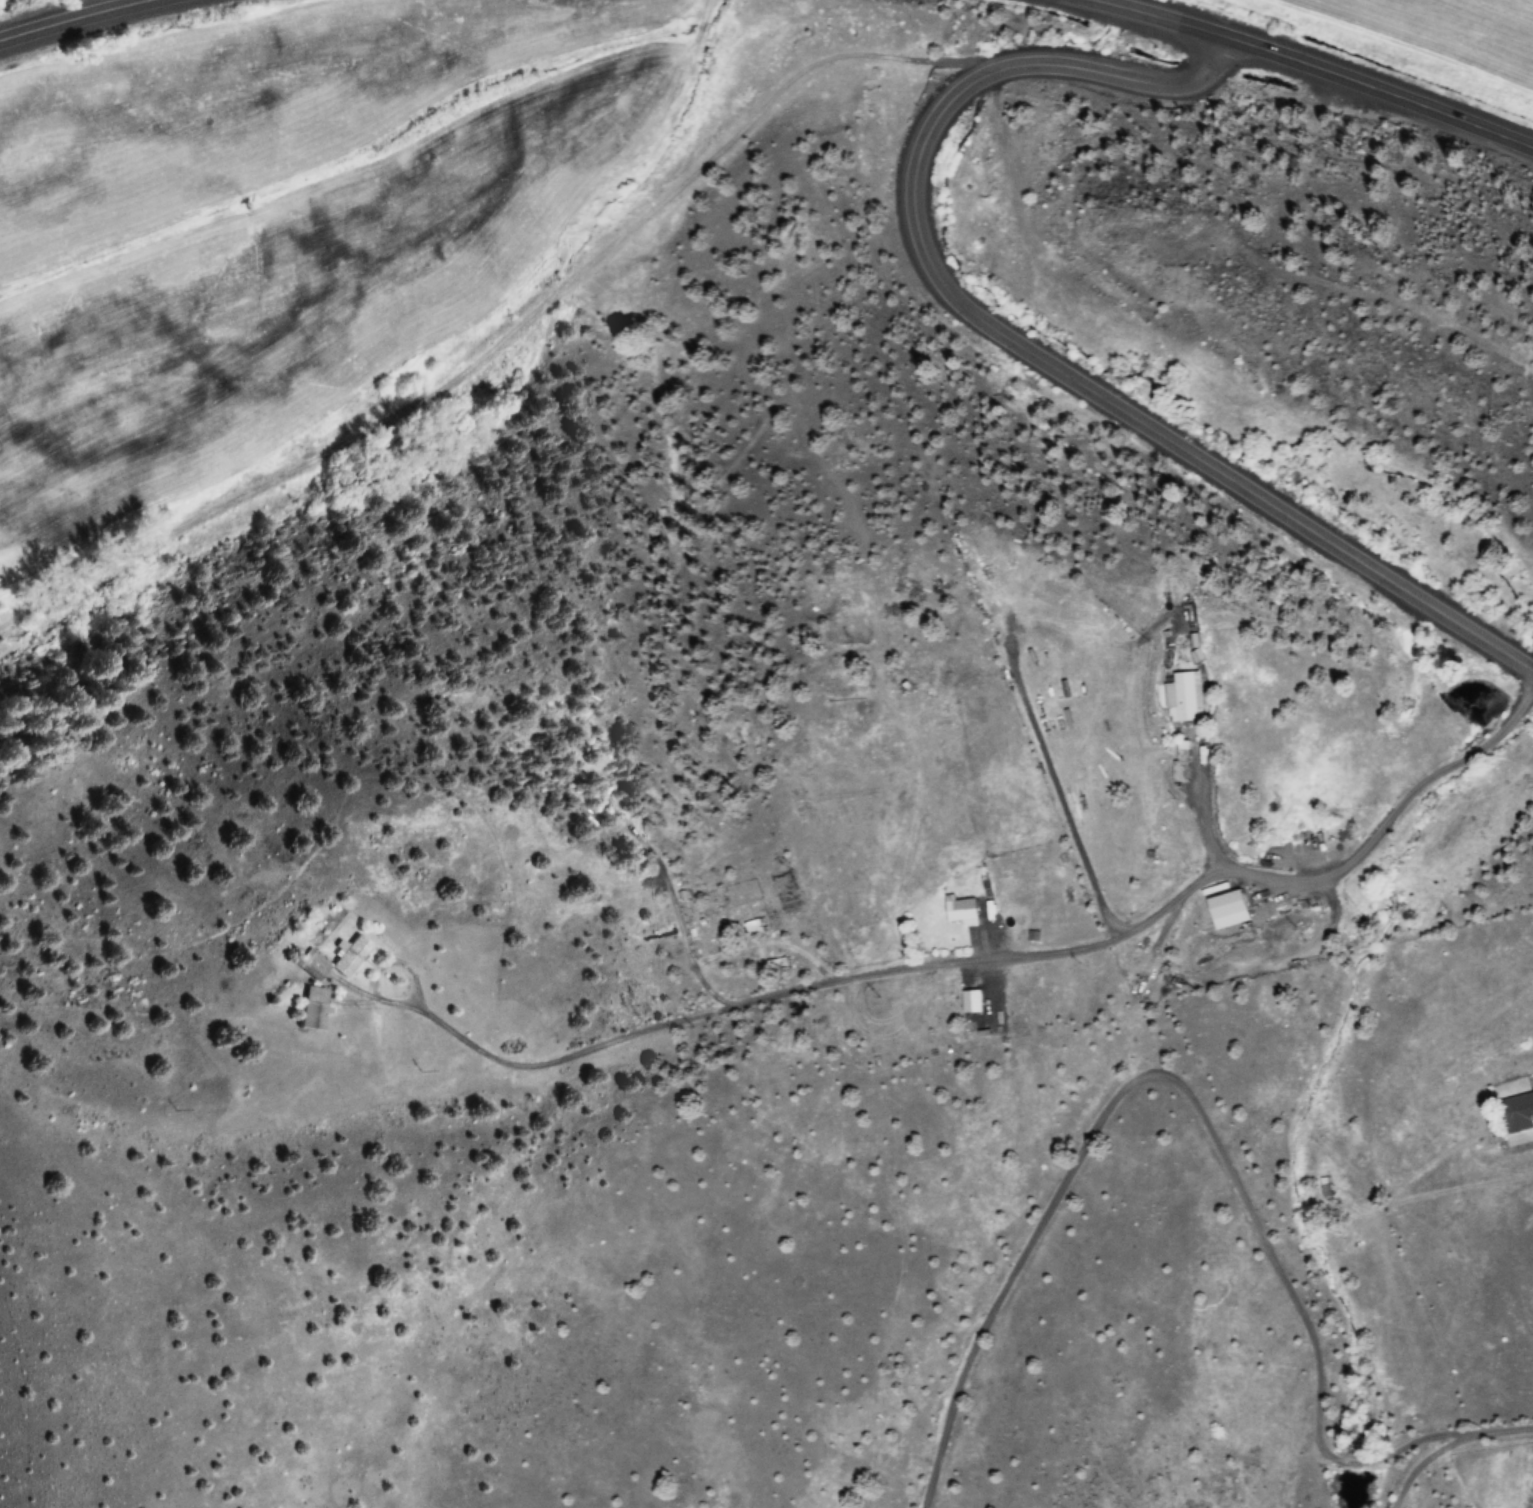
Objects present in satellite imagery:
road: (71, 19)
road: (1323, 67)
road: (1020, 348)
building: (1182, 696)
road: (1502, 738)
building: (1228, 905)
building: (959, 909)
building: (748, 926)
building: (349, 956)
building: (776, 965)
road: (935, 998)
building: (310, 1008)
building: (1522, 1111)
road: (1445, 1441)

